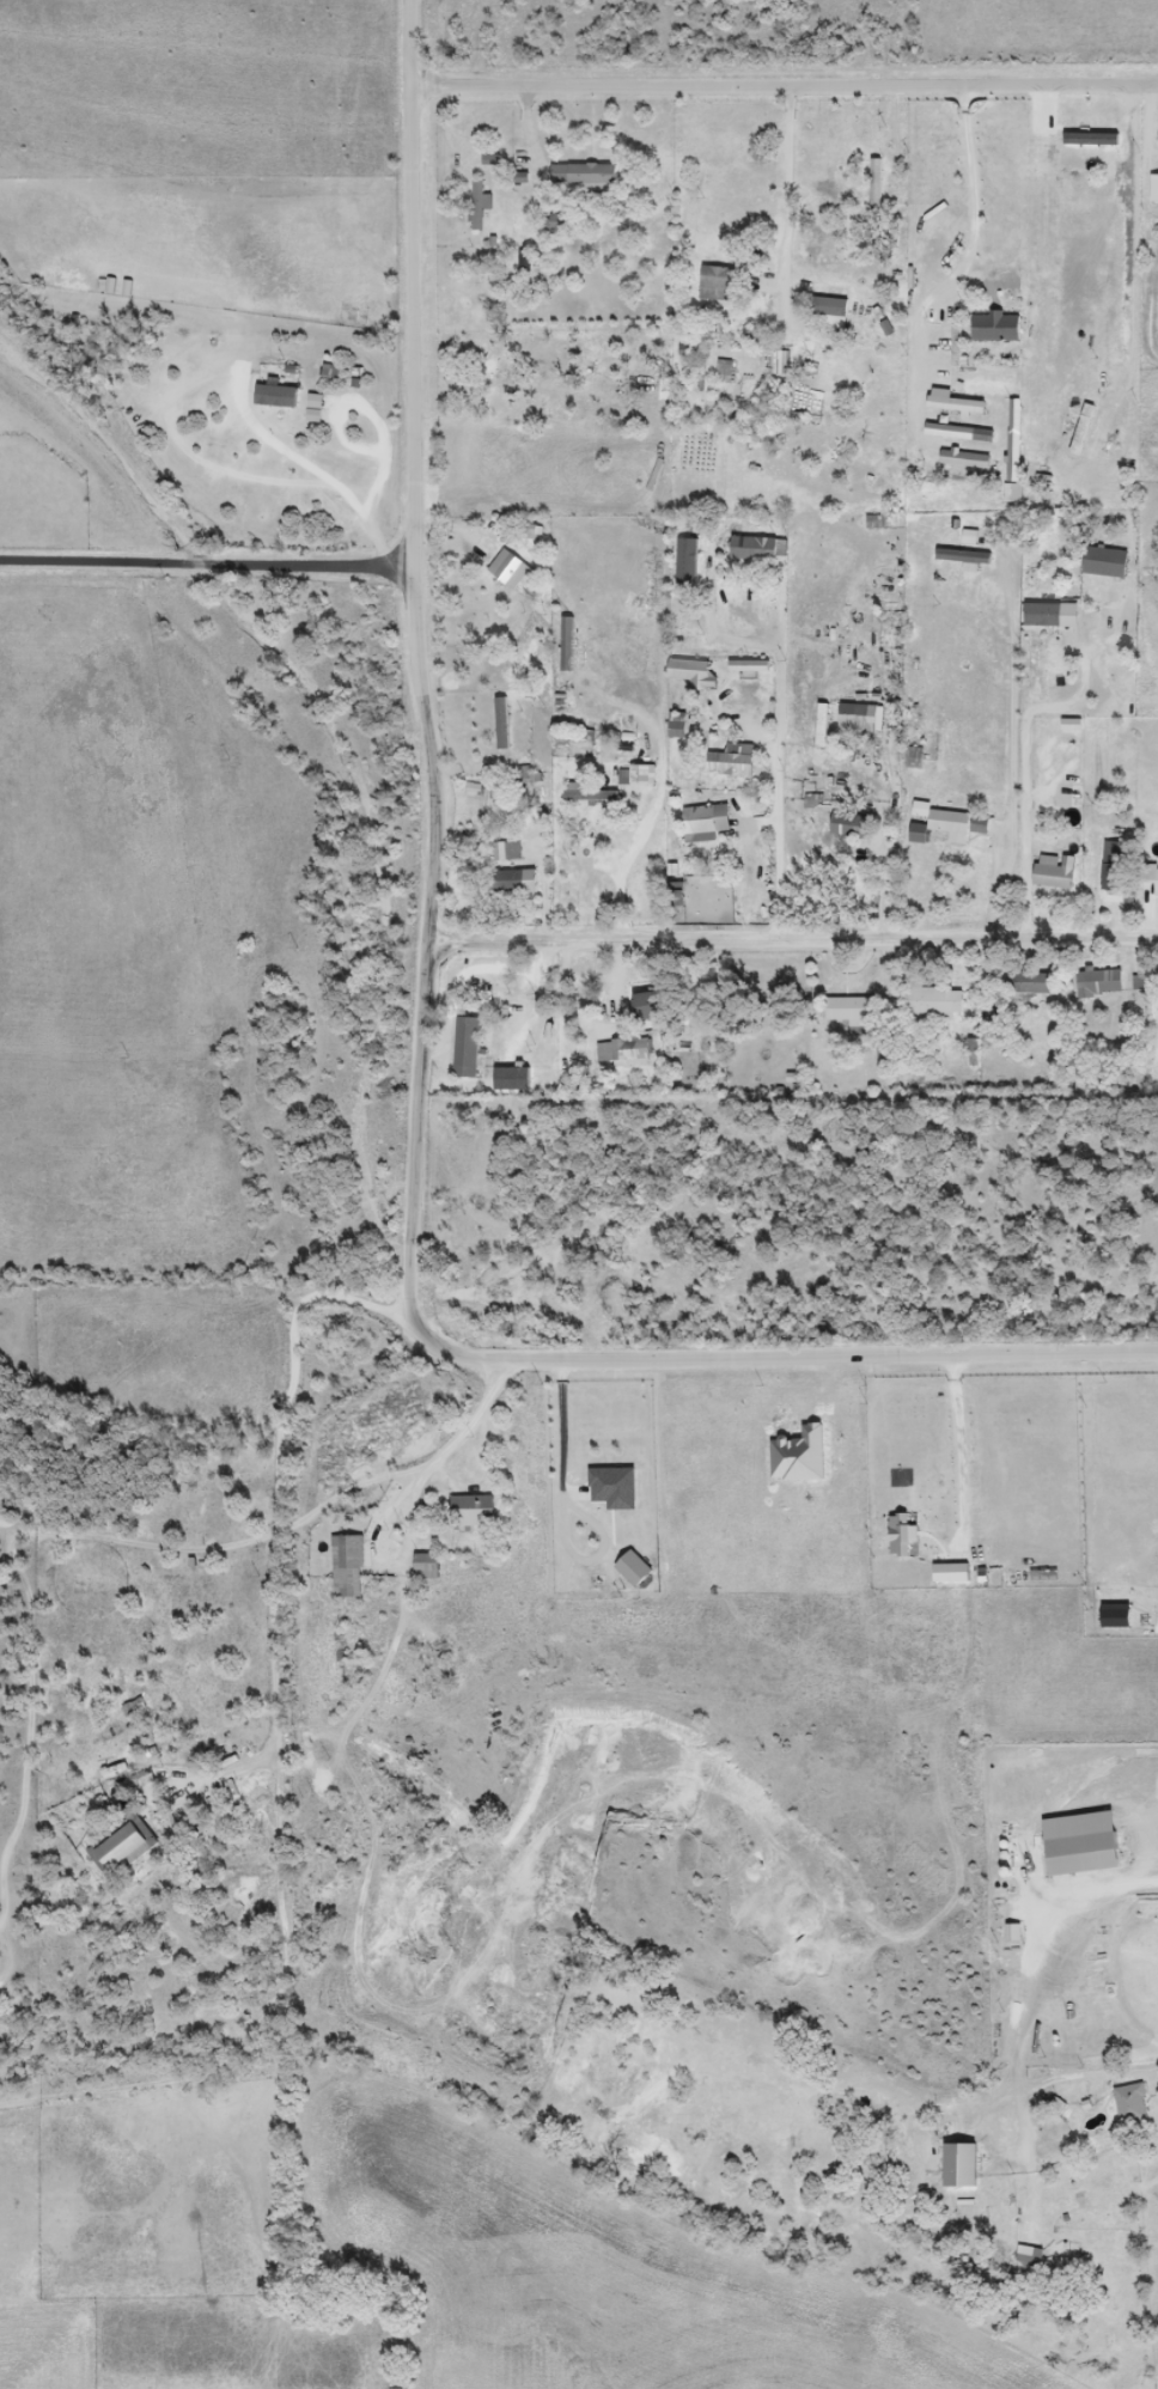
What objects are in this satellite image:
road: (785, 83)
building: (1060, 114)
building: (1060, 134)
building: (1058, 161)
building: (584, 176)
road: (792, 188)
building: (1154, 190)
building: (481, 199)
road: (976, 236)
road: (414, 282)
building: (718, 285)
building: (829, 307)
building: (997, 328)
building: (1052, 400)
building: (957, 406)
building: (1083, 431)
building: (959, 434)
building: (1016, 441)
building: (965, 461)
road: (321, 480)
building: (754, 549)
building: (964, 557)
road: (208, 562)
building: (1107, 565)
building: (510, 571)
building: (1054, 614)
building: (712, 650)
building: (693, 674)
building: (855, 720)
building: (502, 725)
building: (823, 726)
road: (1013, 748)
building: (914, 760)
building: (733, 762)
road: (779, 766)
road: (1025, 775)
building: (642, 778)
building: (707, 822)
building: (851, 827)
building: (980, 827)
building: (944, 829)
building: (508, 853)
road: (622, 867)
building: (1115, 867)
building: (1053, 874)
building: (517, 883)
building: (1150, 883)
road: (794, 940)
building: (486, 970)
building: (1099, 983)
building: (1029, 985)
building: (932, 1002)
building: (651, 1006)
building: (852, 1011)
building: (468, 1049)
building: (632, 1053)
road: (412, 1321)
road: (297, 1360)
road: (963, 1443)
building: (473, 1512)
road: (382, 1529)
building: (348, 1567)
building: (427, 1568)
road: (25, 1587)
building: (126, 1846)
building: (1084, 1855)
road: (286, 1920)
road: (1024, 2012)
building: (1132, 2107)
building: (962, 2168)
building: (1030, 2257)

